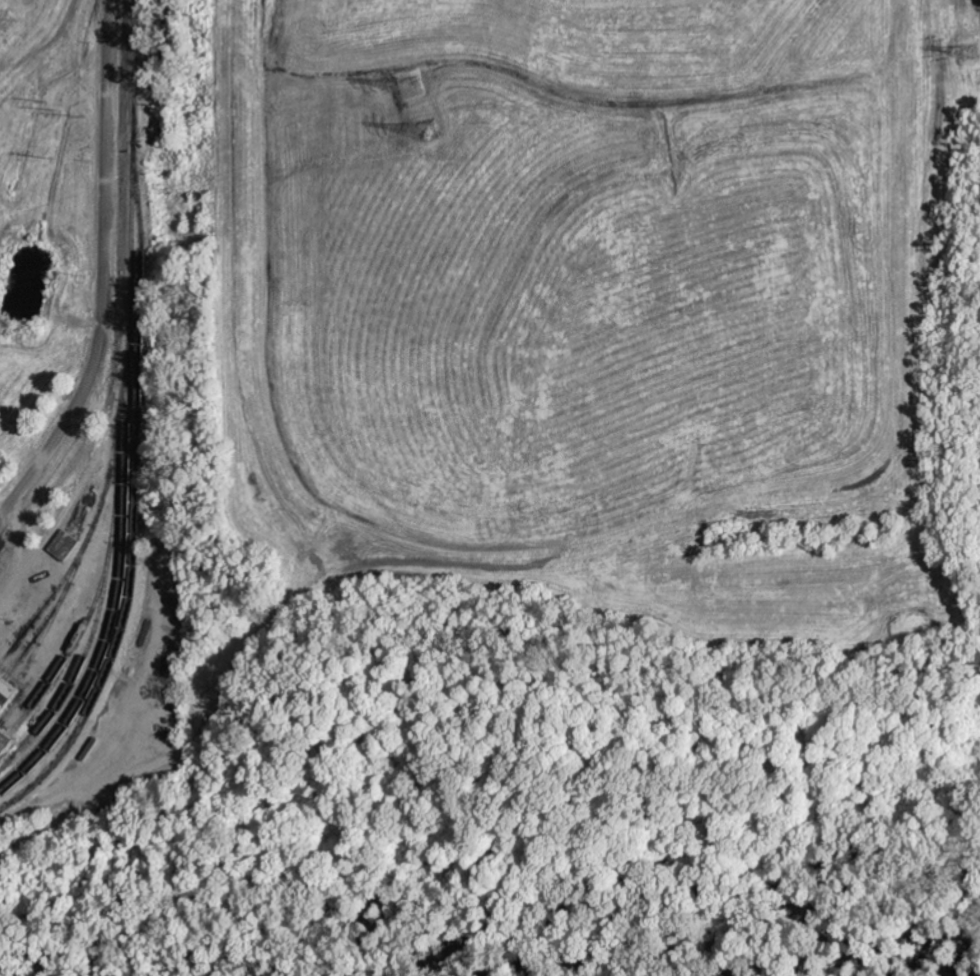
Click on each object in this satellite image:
railway: (119, 408)
building: (7, 695)
building: (5, 742)
railway: (6, 805)

